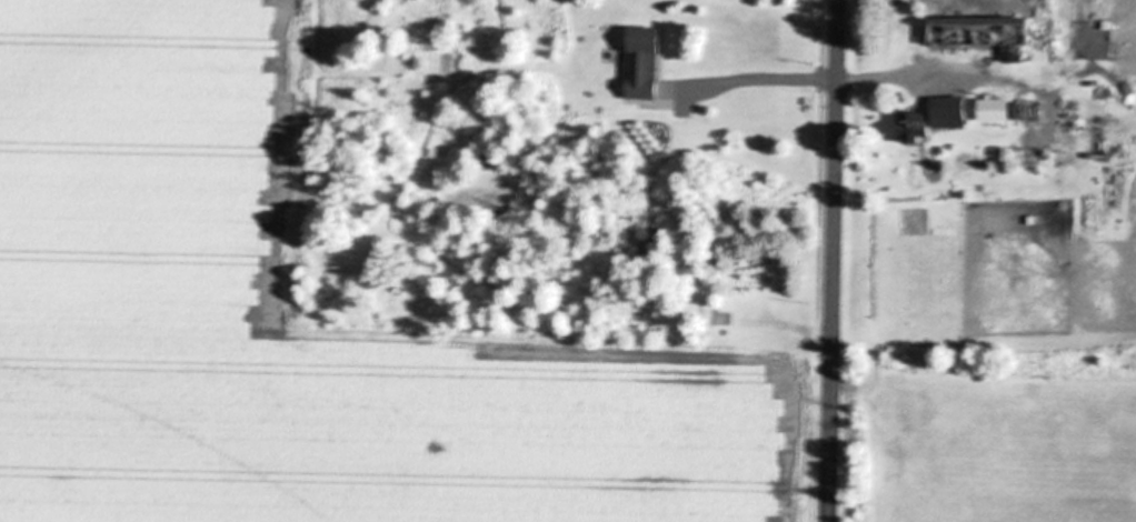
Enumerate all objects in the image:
building: (984, 33)
building: (645, 64)
road: (813, 80)
building: (996, 111)
building: (950, 113)
road: (831, 261)

